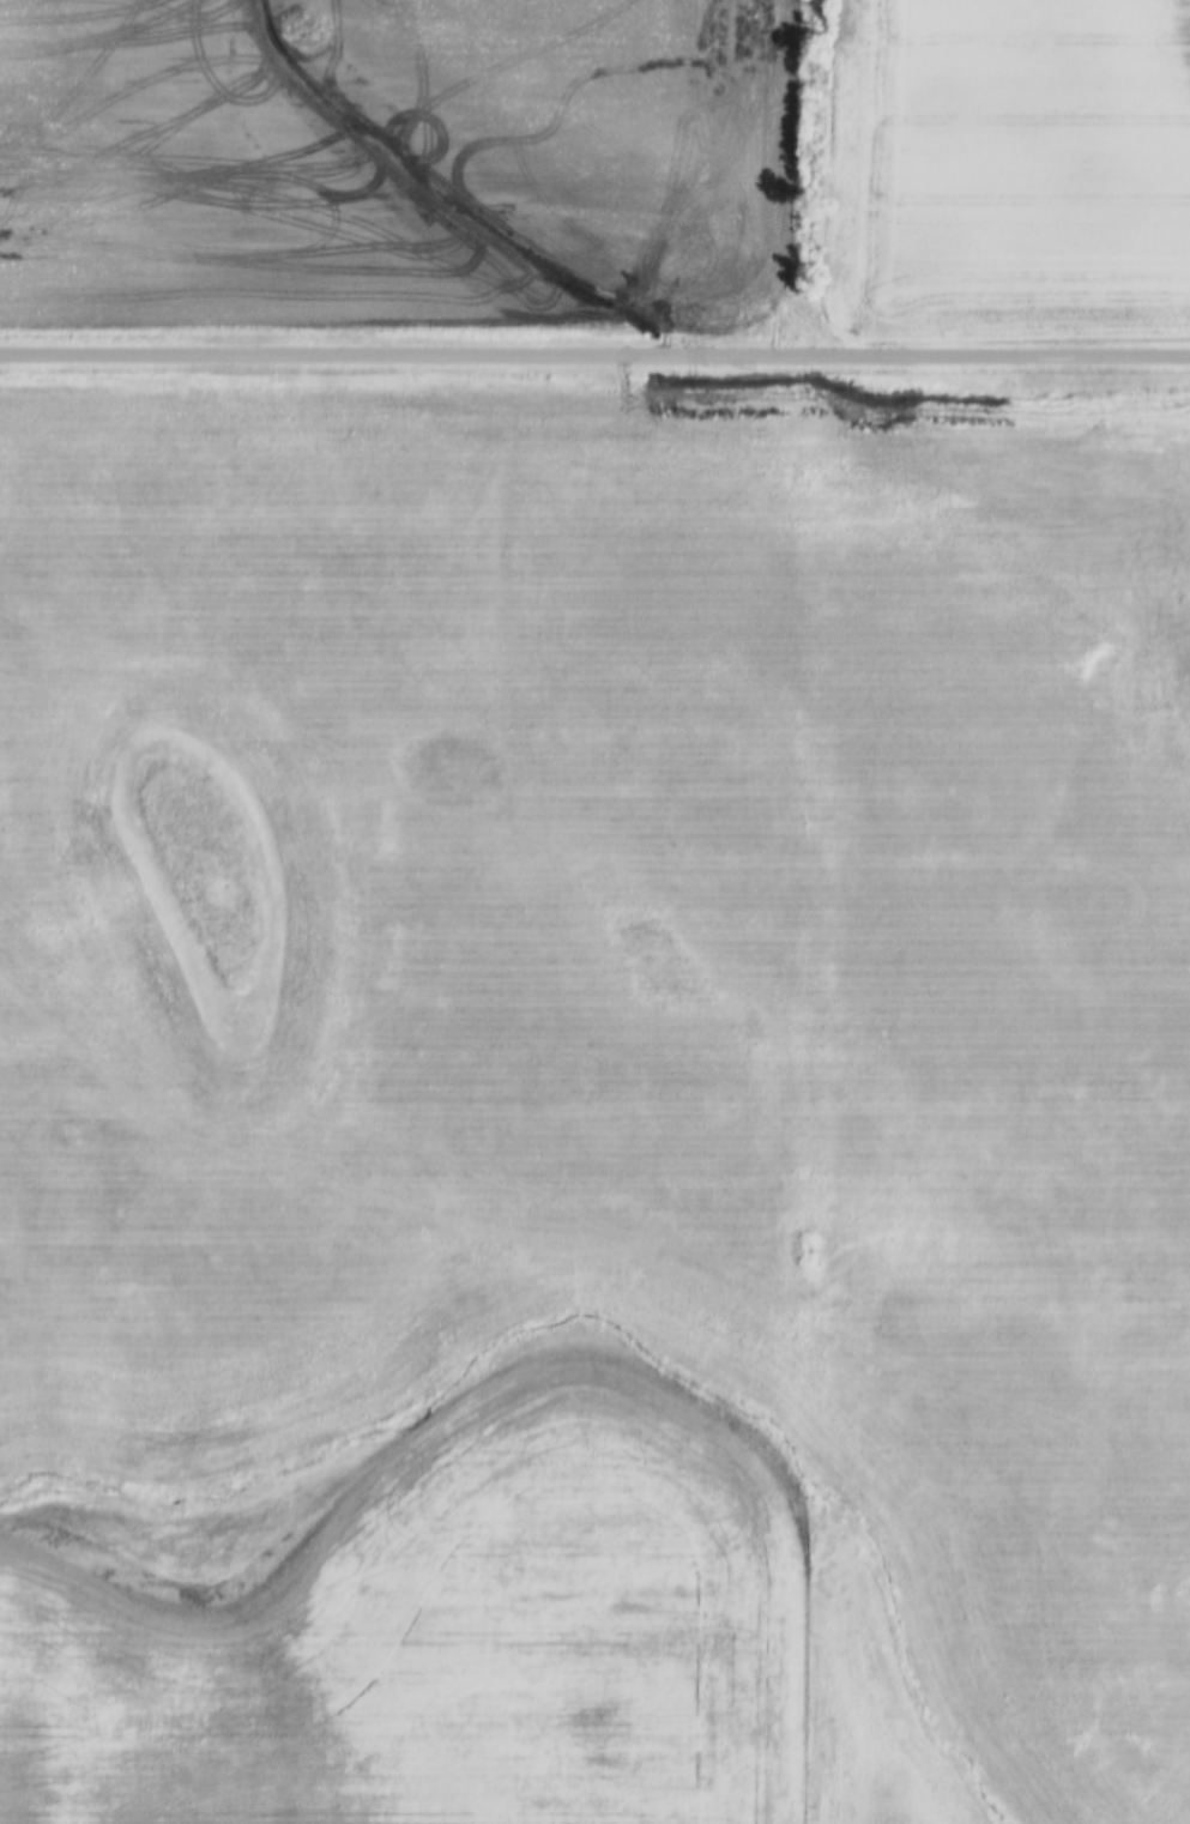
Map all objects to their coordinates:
road: (594, 352)

